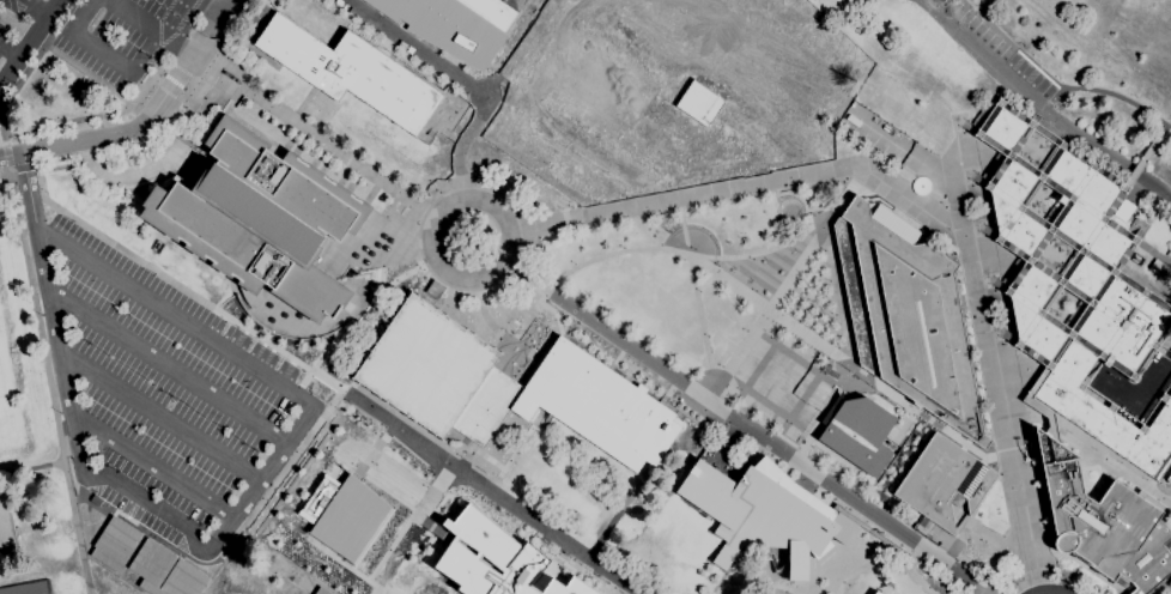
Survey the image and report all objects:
road: (38, 7)
road: (207, 8)
road: (81, 17)
building: (454, 24)
park: (1111, 26)
road: (150, 29)
parking lot: (89, 37)
road: (29, 42)
road: (414, 48)
road: (518, 48)
road: (96, 50)
road: (8, 51)
road: (37, 55)
road: (184, 67)
building: (351, 72)
road: (171, 81)
road: (104, 87)
road: (1109, 91)
building: (698, 103)
road: (1043, 105)
road: (168, 116)
road: (1, 125)
road: (879, 134)
road: (315, 137)
road: (65, 143)
road: (461, 144)
road: (5, 150)
road: (932, 164)
road: (4, 170)
road: (24, 170)
road: (535, 172)
road: (480, 180)
road: (26, 190)
road: (708, 196)
building: (1123, 211)
building: (261, 219)
road: (427, 247)
road: (659, 248)
building: (1159, 269)
road: (789, 279)
building: (1078, 289)
building: (435, 290)
road: (377, 296)
road: (696, 296)
road: (459, 297)
road: (168, 314)
building: (906, 315)
road: (50, 317)
road: (489, 325)
road: (263, 339)
road: (820, 344)
road: (164, 366)
road: (47, 378)
building: (508, 388)
road: (997, 390)
parking lot: (171, 395)
park: (8, 401)
building: (1042, 405)
road: (157, 417)
road: (299, 422)
road: (751, 429)
building: (857, 432)
road: (150, 465)
road: (31, 469)
building: (1169, 478)
building: (944, 481)
road: (256, 483)
road: (89, 490)
road: (491, 490)
building: (95, 498)
road: (136, 498)
building: (344, 513)
building: (764, 515)
building: (1105, 523)
building: (6, 527)
road: (152, 534)
building: (115, 543)
building: (499, 559)
building: (164, 570)
road: (1049, 576)
building: (321, 590)
building: (870, 593)
building: (876, 593)

